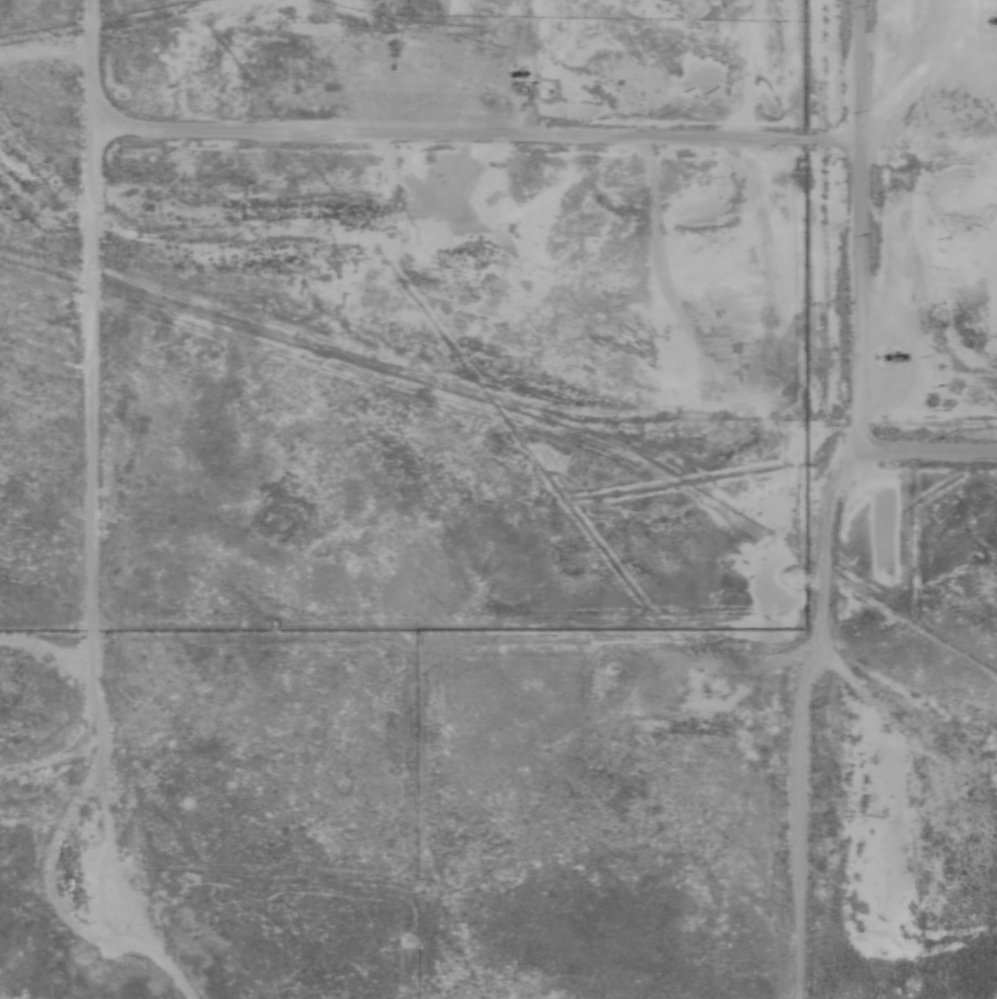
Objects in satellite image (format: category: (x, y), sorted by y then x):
road: (854, 104)
road: (826, 205)
road: (923, 436)
road: (76, 440)

